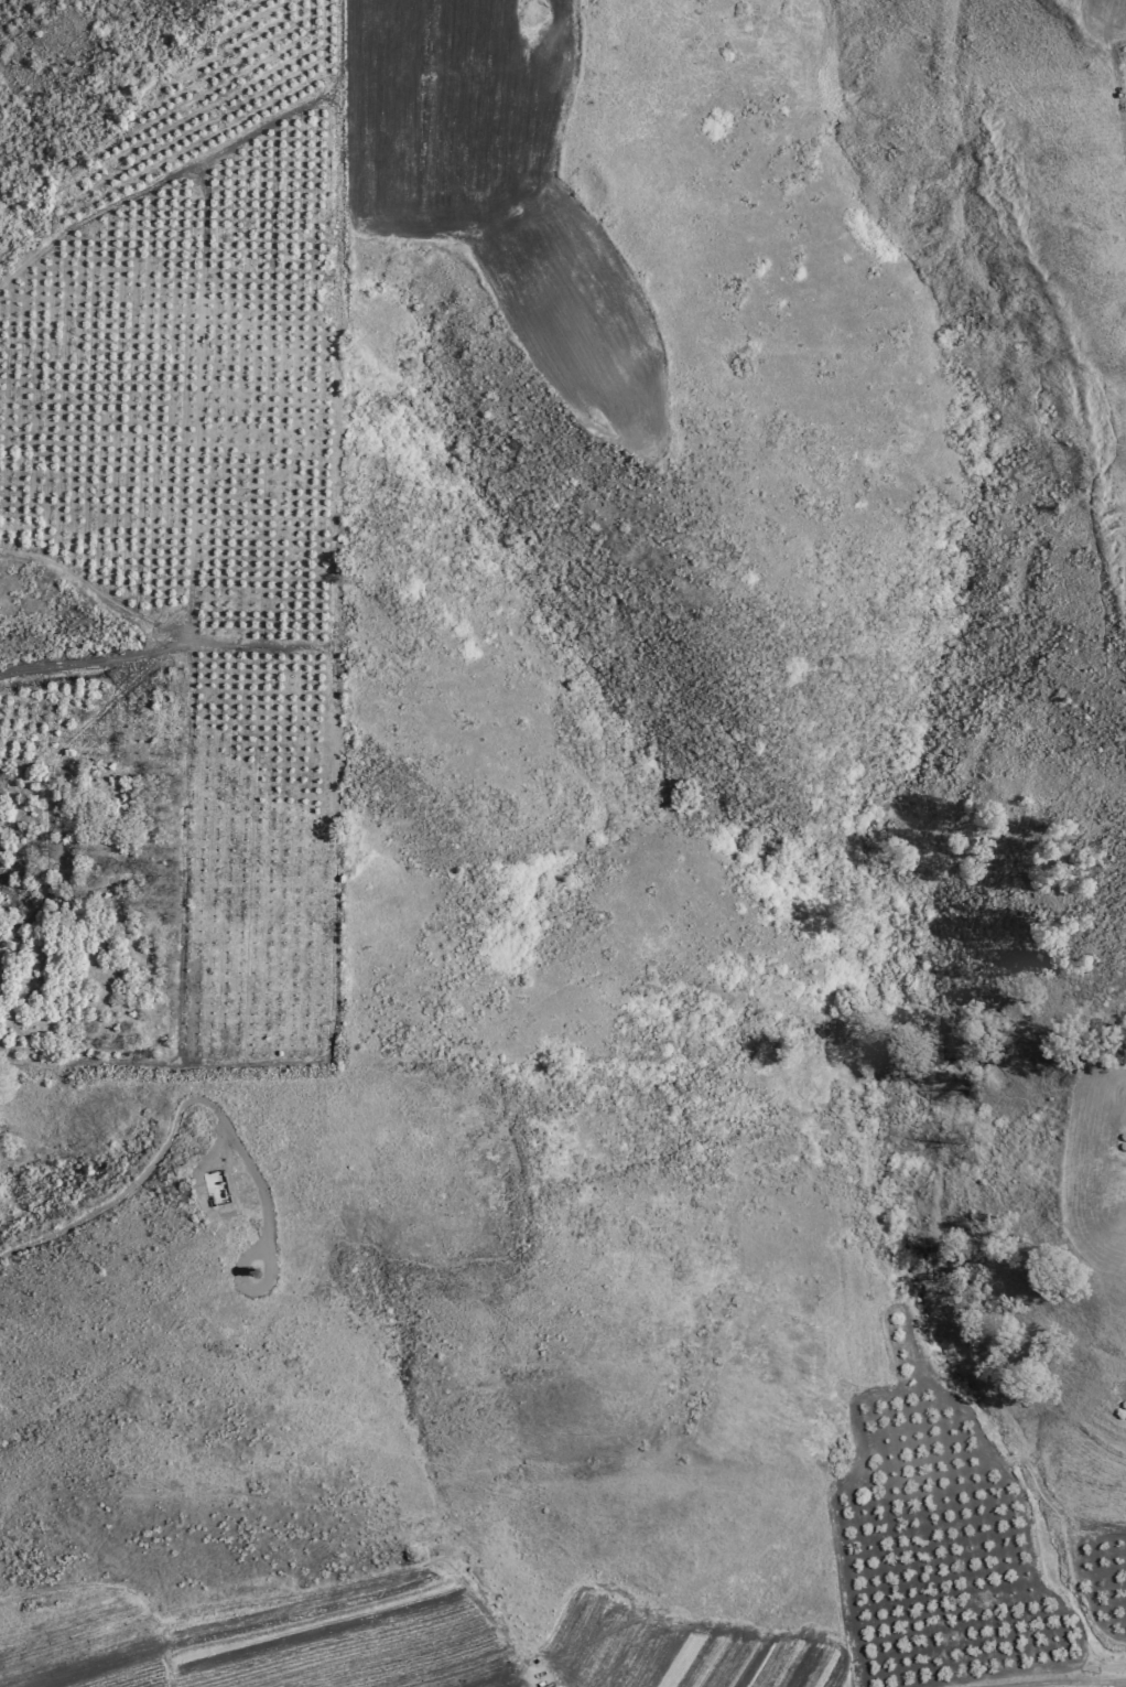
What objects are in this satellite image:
road: (1113, 68)
road: (422, 118)
road: (338, 178)
crop: (500, 190)
crop: (1065, 277)
road: (196, 402)
road: (154, 630)
road: (95, 660)
road: (328, 852)
road: (147, 1169)
building: (216, 1190)
crop: (264, 1631)
road: (1057, 1686)
road: (1124, 1686)

